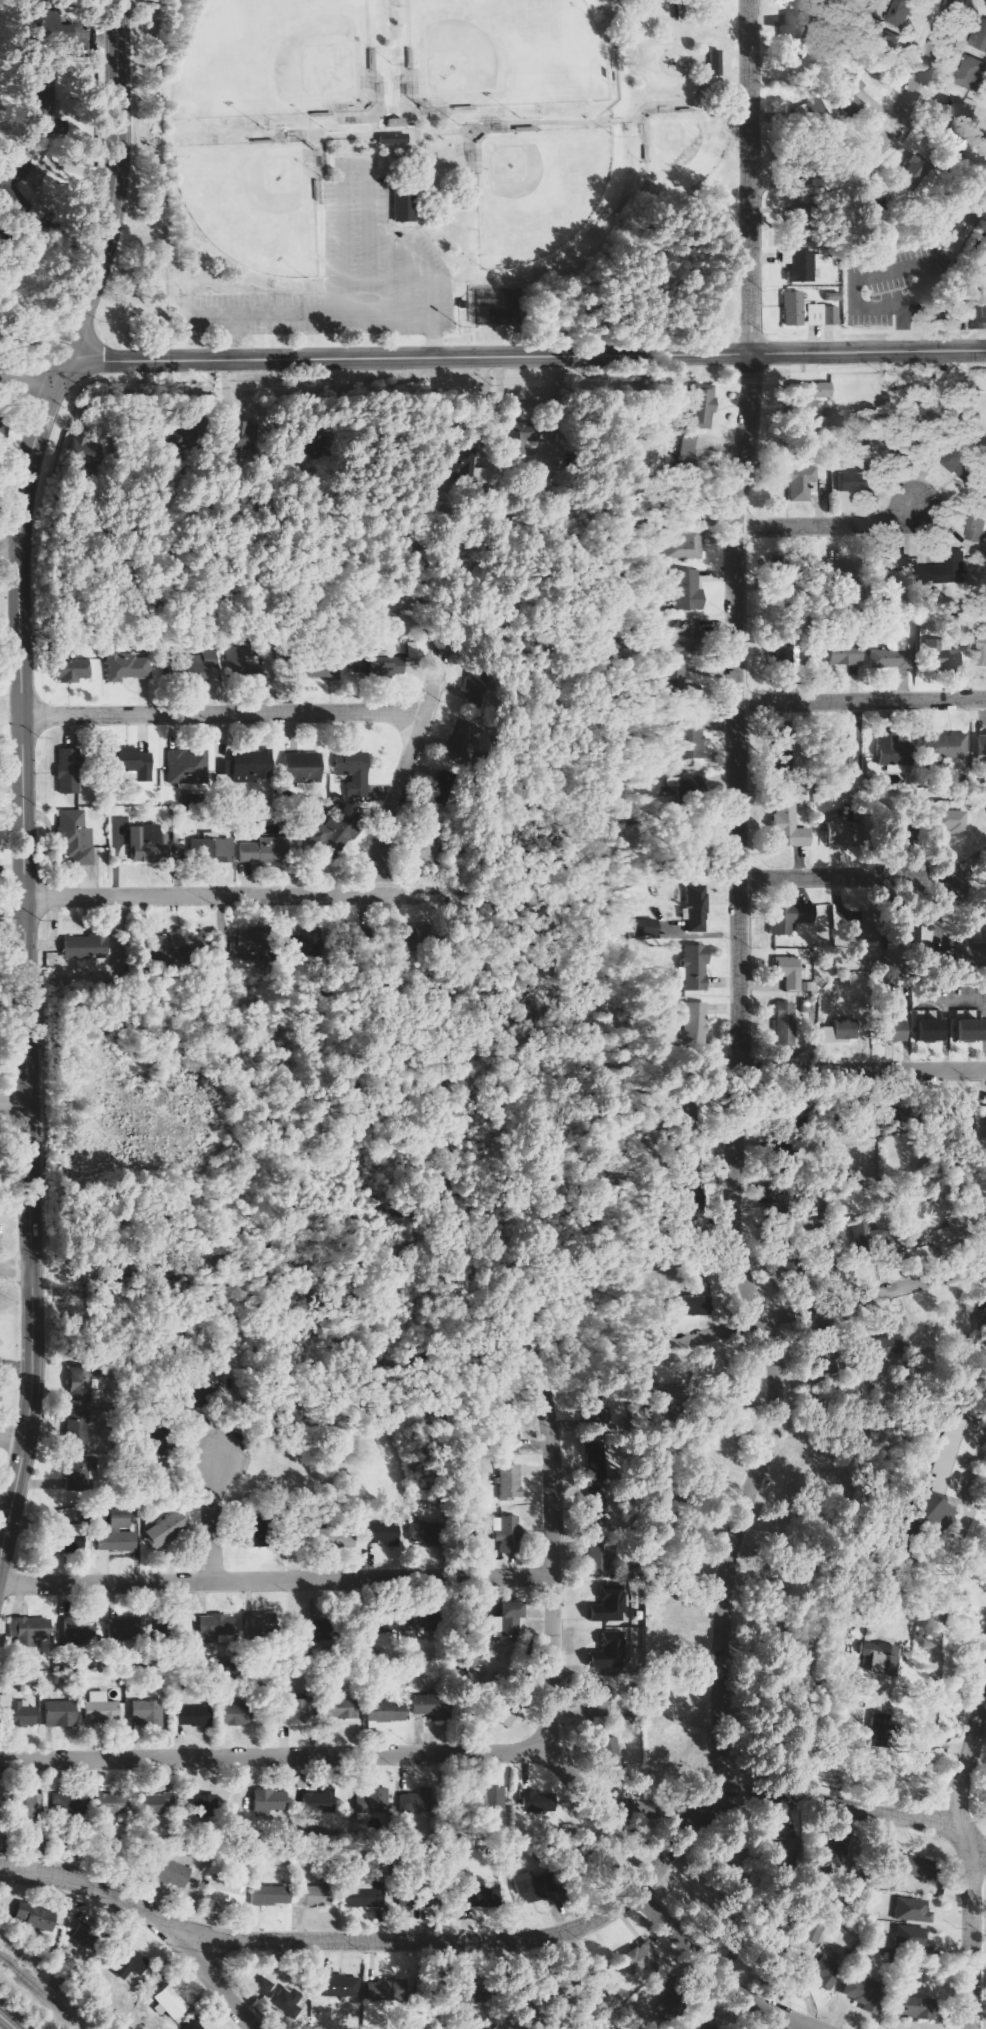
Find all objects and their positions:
building: (985, 6)
building: (900, 13)
road: (675, 18)
building: (790, 36)
building: (980, 36)
road: (626, 44)
building: (715, 63)
building: (970, 72)
road: (375, 82)
road: (408, 89)
building: (849, 91)
road: (683, 105)
building: (949, 110)
building: (811, 112)
road: (424, 114)
road: (342, 116)
road: (562, 120)
building: (395, 122)
road: (378, 131)
road: (888, 134)
road: (288, 137)
building: (394, 140)
road: (394, 146)
road: (390, 151)
road: (374, 152)
building: (13, 174)
park: (434, 174)
road: (751, 176)
road: (115, 185)
building: (403, 206)
building: (802, 264)
building: (982, 284)
building: (793, 308)
building: (813, 314)
building: (830, 315)
road: (247, 335)
road: (525, 355)
traffic signals: (65, 363)
road: (33, 371)
building: (809, 399)
building: (704, 405)
building: (245, 435)
building: (523, 436)
building: (698, 450)
building: (462, 462)
building: (960, 464)
building: (799, 479)
building: (858, 480)
road: (828, 524)
building: (975, 529)
building: (690, 543)
road: (10, 552)
building: (835, 569)
building: (947, 570)
building: (690, 590)
road: (19, 626)
building: (689, 638)
building: (983, 648)
building: (417, 649)
building: (940, 653)
building: (845, 654)
building: (892, 655)
building: (244, 658)
building: (206, 660)
building: (379, 664)
building: (69, 665)
building: (130, 665)
building: (319, 666)
building: (682, 679)
road: (861, 700)
road: (222, 711)
road: (736, 712)
building: (692, 737)
building: (981, 743)
building: (946, 747)
building: (897, 750)
building: (843, 753)
building: (133, 762)
building: (253, 763)
building: (351, 764)
building: (188, 765)
building: (302, 766)
building: (221, 767)
road: (405, 768)
building: (67, 770)
building: (696, 781)
building: (358, 791)
building: (953, 820)
building: (788, 825)
building: (837, 831)
building: (331, 834)
building: (147, 840)
building: (428, 841)
building: (211, 848)
building: (264, 850)
road: (842, 875)
road: (230, 893)
building: (696, 907)
building: (789, 916)
building: (652, 926)
building: (852, 931)
building: (243, 943)
building: (176, 944)
building: (290, 944)
building: (84, 946)
building: (963, 950)
building: (943, 959)
building: (694, 966)
building: (788, 971)
building: (808, 985)
building: (967, 1013)
building: (927, 1014)
building: (784, 1019)
building: (697, 1024)
building: (964, 1029)
building: (837, 1030)
building: (887, 1030)
building: (926, 1030)
road: (864, 1071)
road: (15, 1100)
road: (31, 1229)
building: (941, 1235)
building: (872, 1244)
road: (15, 1268)
building: (697, 1300)
road: (818, 1306)
building: (884, 1346)
building: (80, 1383)
building: (199, 1394)
building: (667, 1396)
building: (0, 1398)
building: (78, 1404)
building: (76, 1429)
road: (777, 1432)
building: (510, 1433)
road: (12, 1439)
building: (950, 1457)
building: (814, 1467)
building: (78, 1472)
building: (509, 1480)
building: (926, 1512)
building: (595, 1513)
road: (212, 1516)
building: (166, 1528)
building: (419, 1531)
building: (116, 1532)
building: (383, 1533)
building: (505, 1533)
building: (347, 1537)
building: (599, 1556)
road: (555, 1573)
road: (277, 1580)
building: (609, 1605)
building: (509, 1619)
building: (417, 1621)
building: (171, 1624)
building: (214, 1627)
building: (29, 1628)
building: (123, 1628)
building: (379, 1629)
building: (611, 1652)
building: (874, 1665)
building: (605, 1699)
building: (677, 1705)
building: (104, 1707)
building: (341, 1707)
building: (431, 1707)
building: (292, 1709)
building: (386, 1711)
building: (15, 1712)
building: (149, 1712)
building: (60, 1713)
building: (234, 1713)
building: (194, 1715)
building: (869, 1732)
building: (611, 1752)
building: (675, 1753)
road: (375, 1754)
building: (269, 1801)
building: (318, 1802)
building: (534, 1802)
building: (371, 1803)
building: (69, 1804)
building: (154, 1804)
building: (205, 1804)
building: (29, 1805)
building: (112, 1807)
road: (861, 1810)
building: (829, 1852)
road: (969, 1862)
building: (906, 1863)
building: (170, 1872)
building: (529, 1887)
building: (478, 1888)
building: (224, 1893)
building: (269, 1894)
building: (313, 1894)
building: (362, 1894)
building: (911, 1909)
building: (31, 1919)
building: (813, 1933)
building: (912, 1937)
road: (383, 1940)
building: (641, 1957)
building: (127, 1960)
building: (820, 1969)
road: (718, 1971)
road: (507, 1977)
building: (336, 1983)
road: (222, 1984)
building: (264, 1984)
building: (386, 1990)
building: (862, 1991)
railway: (40, 1993)
building: (458, 1997)
building: (287, 2000)
building: (170, 2002)
building: (911, 2007)
road: (6, 2022)
building: (196, 2024)
building: (705, 2024)

